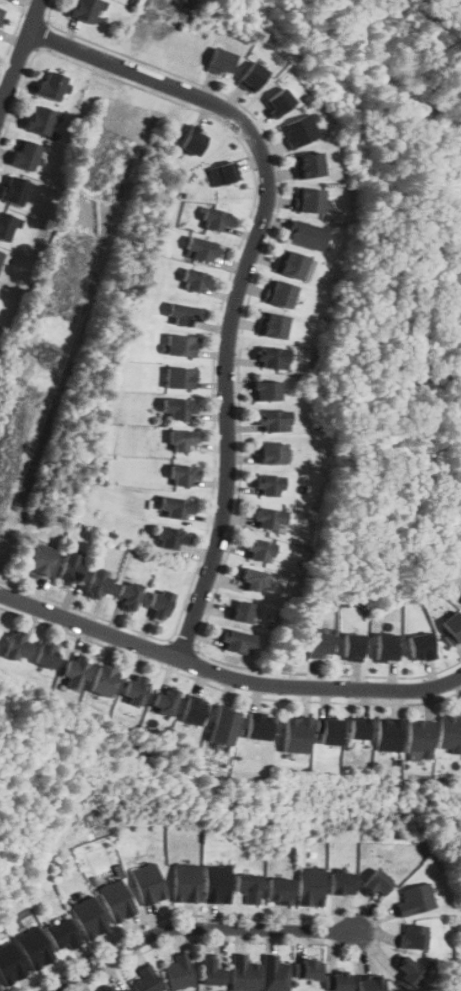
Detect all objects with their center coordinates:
building: (83, 9)
building: (0, 11)
road: (19, 54)
building: (220, 60)
building: (251, 76)
building: (50, 85)
building: (279, 101)
road: (0, 105)
building: (40, 118)
building: (299, 130)
building: (192, 140)
building: (24, 154)
building: (307, 164)
building: (222, 173)
building: (12, 189)
building: (309, 199)
building: (215, 218)
building: (8, 225)
building: (305, 234)
building: (199, 248)
building: (0, 253)
building: (291, 263)
road: (243, 273)
building: (196, 279)
building: (280, 293)
building: (183, 314)
building: (272, 324)
building: (179, 344)
power tower: (46, 352)
building: (271, 357)
building: (178, 377)
building: (266, 389)
building: (177, 408)
building: (272, 419)
building: (182, 440)
building: (270, 452)
building: (183, 475)
building: (268, 484)
building: (174, 507)
building: (267, 517)
building: (170, 537)
building: (256, 549)
building: (39, 560)
building: (69, 567)
building: (250, 578)
building: (98, 582)
building: (127, 594)
building: (158, 604)
building: (239, 612)
building: (452, 628)
building: (233, 639)
building: (16, 644)
building: (317, 644)
building: (351, 646)
building: (386, 646)
building: (421, 646)
building: (46, 655)
building: (74, 670)
road: (225, 675)
building: (103, 680)
building: (134, 688)
building: (165, 700)
building: (190, 710)
building: (222, 725)
building: (255, 726)
building: (357, 728)
building: (328, 731)
building: (450, 732)
building: (295, 734)
building: (390, 734)
building: (420, 740)
building: (147, 882)
building: (185, 882)
building: (341, 882)
building: (376, 882)
building: (216, 883)
building: (247, 886)
building: (309, 886)
building: (278, 890)
building: (415, 898)
building: (115, 900)
building: (87, 916)
road: (194, 927)
building: (62, 933)
building: (413, 936)
building: (33, 947)
building: (9, 964)
building: (307, 968)
building: (179, 971)
building: (211, 971)
building: (408, 973)
building: (243, 974)
building: (274, 974)
building: (146, 980)
building: (338, 981)
building: (369, 982)
building: (0, 988)
building: (107, 989)
building: (123, 990)

